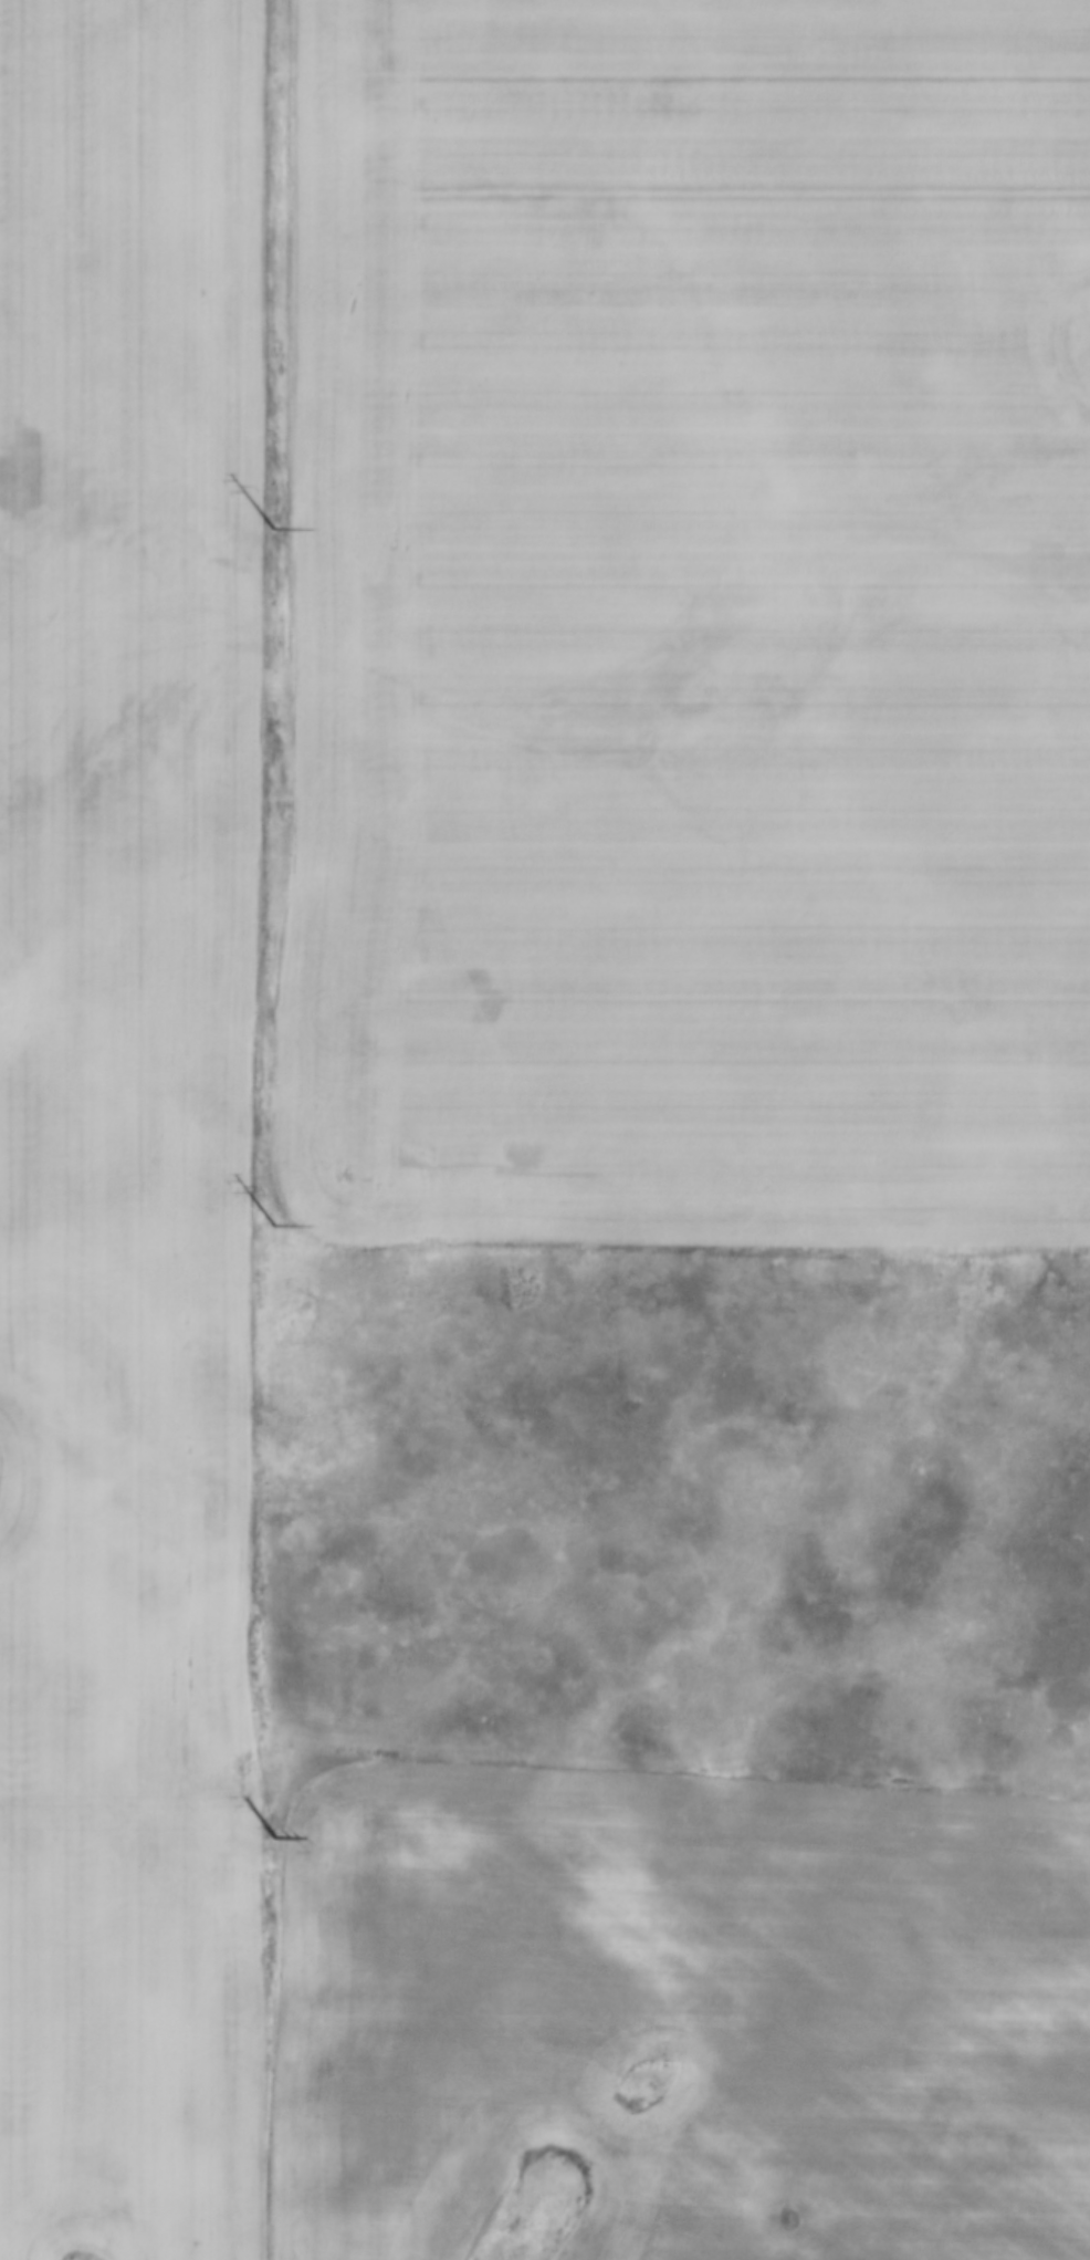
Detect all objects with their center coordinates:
power tower: (272, 527)
power tower: (272, 1223)
power tower: (273, 1835)

